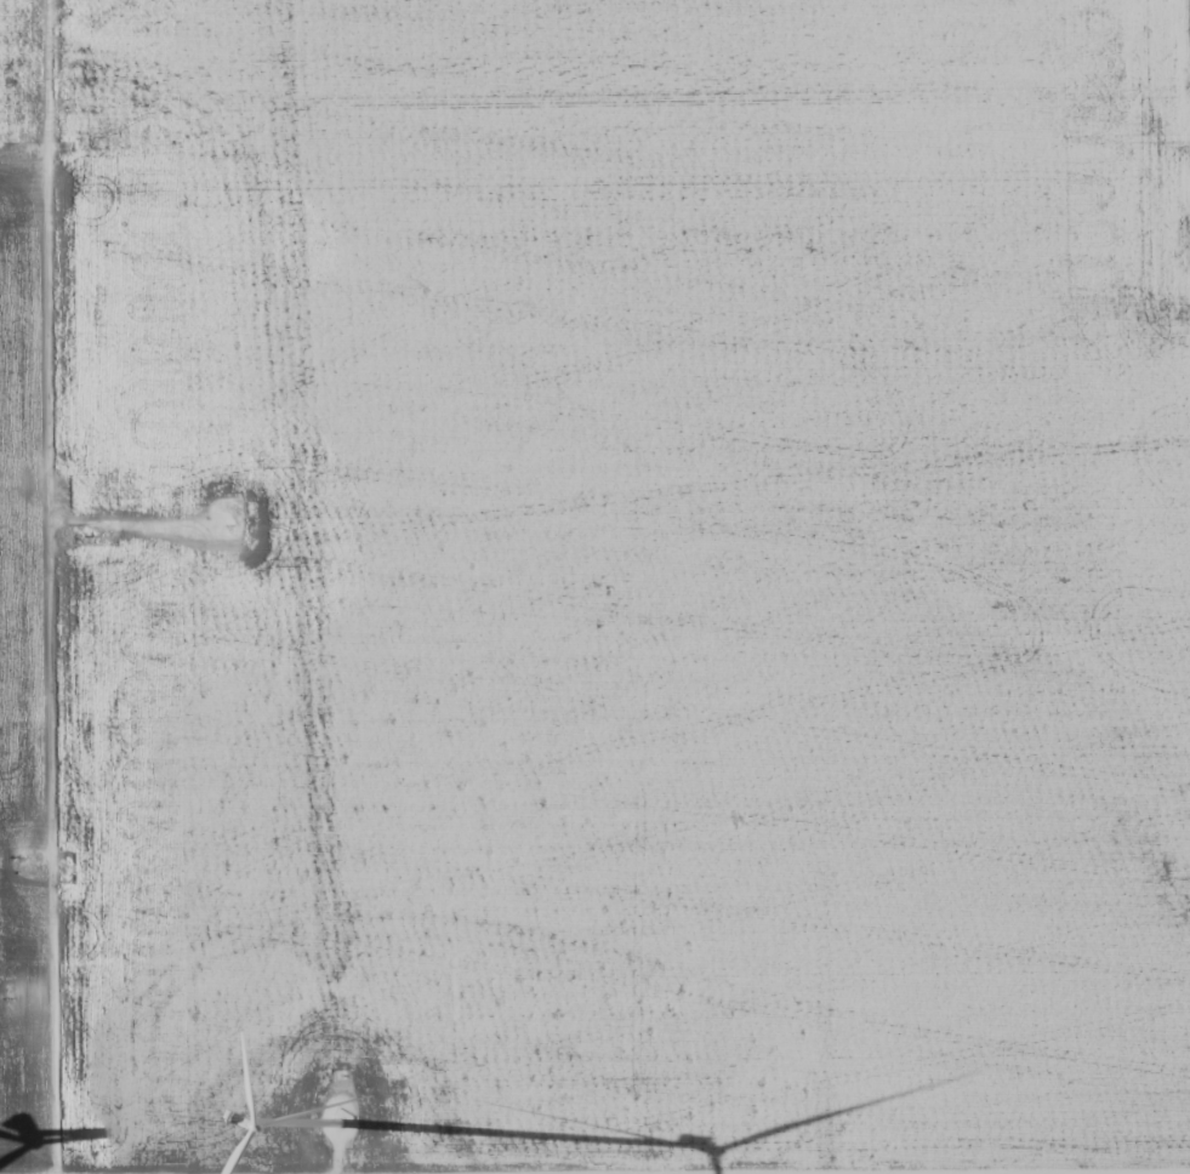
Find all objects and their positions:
road: (59, 587)
wind turbine: (336, 1127)

